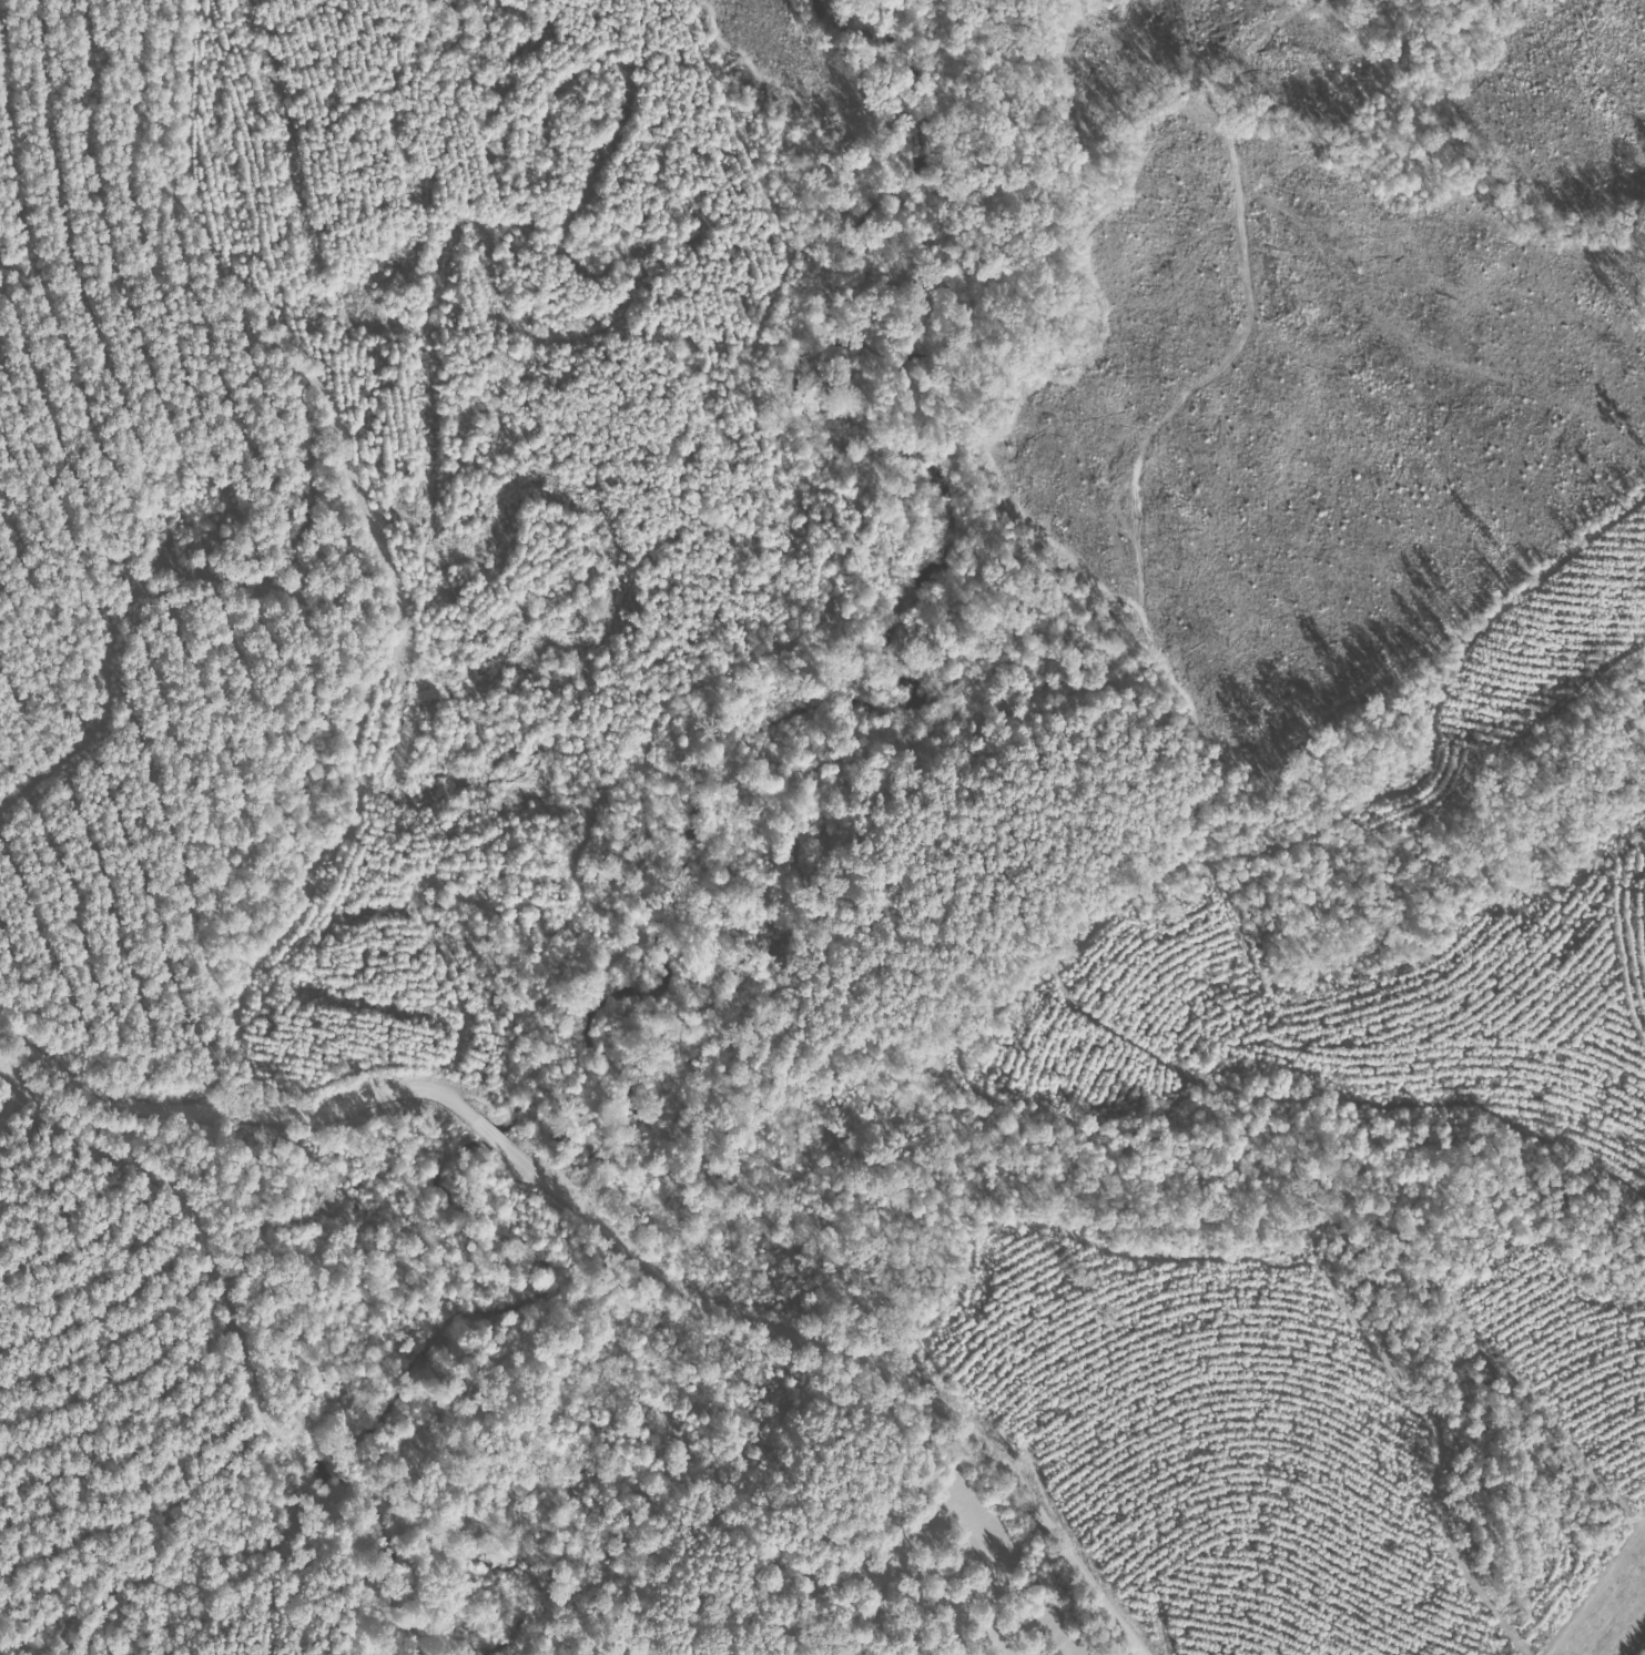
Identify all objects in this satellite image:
road: (617, 1257)

